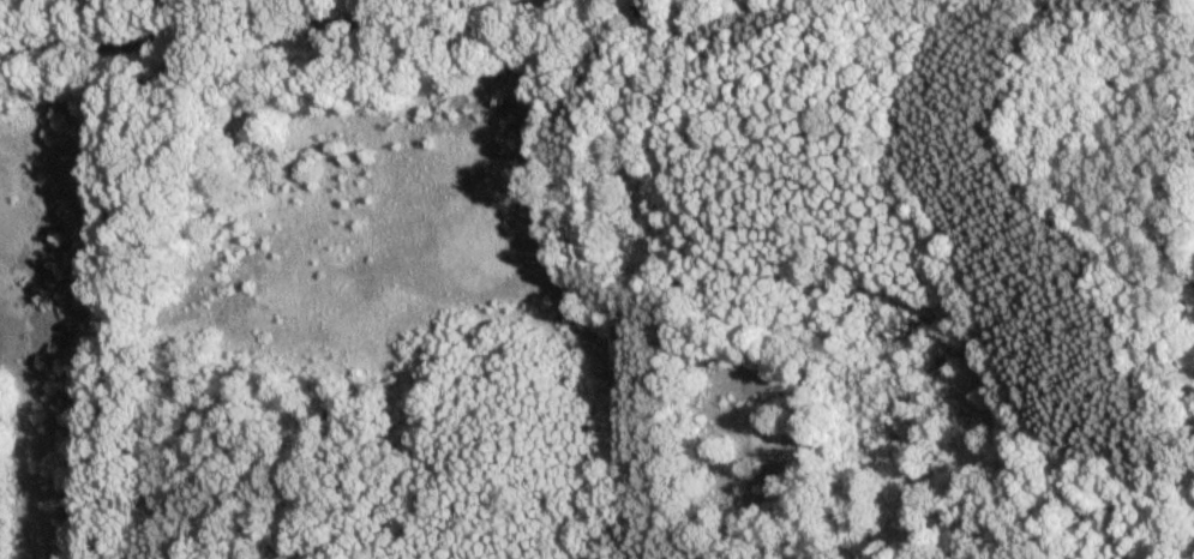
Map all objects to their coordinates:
road: (242, 28)

